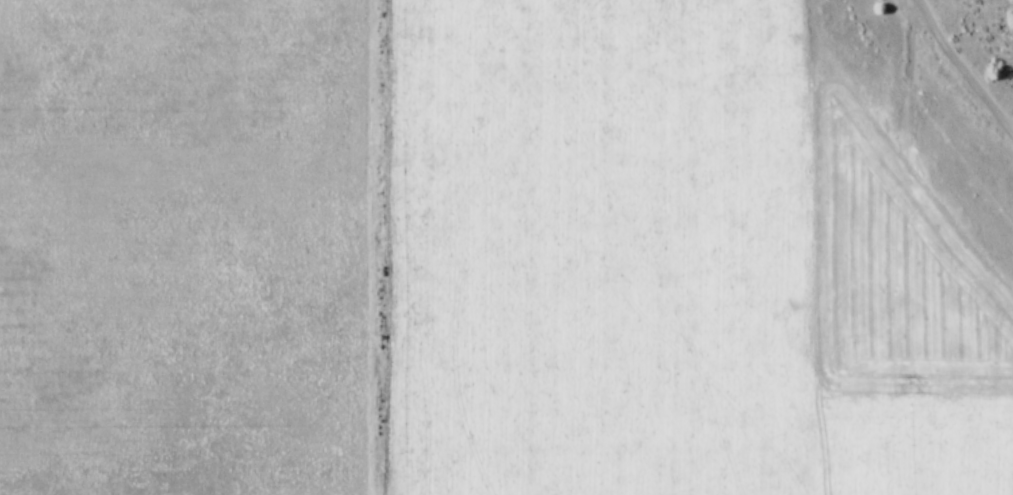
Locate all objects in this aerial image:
road: (962, 70)

